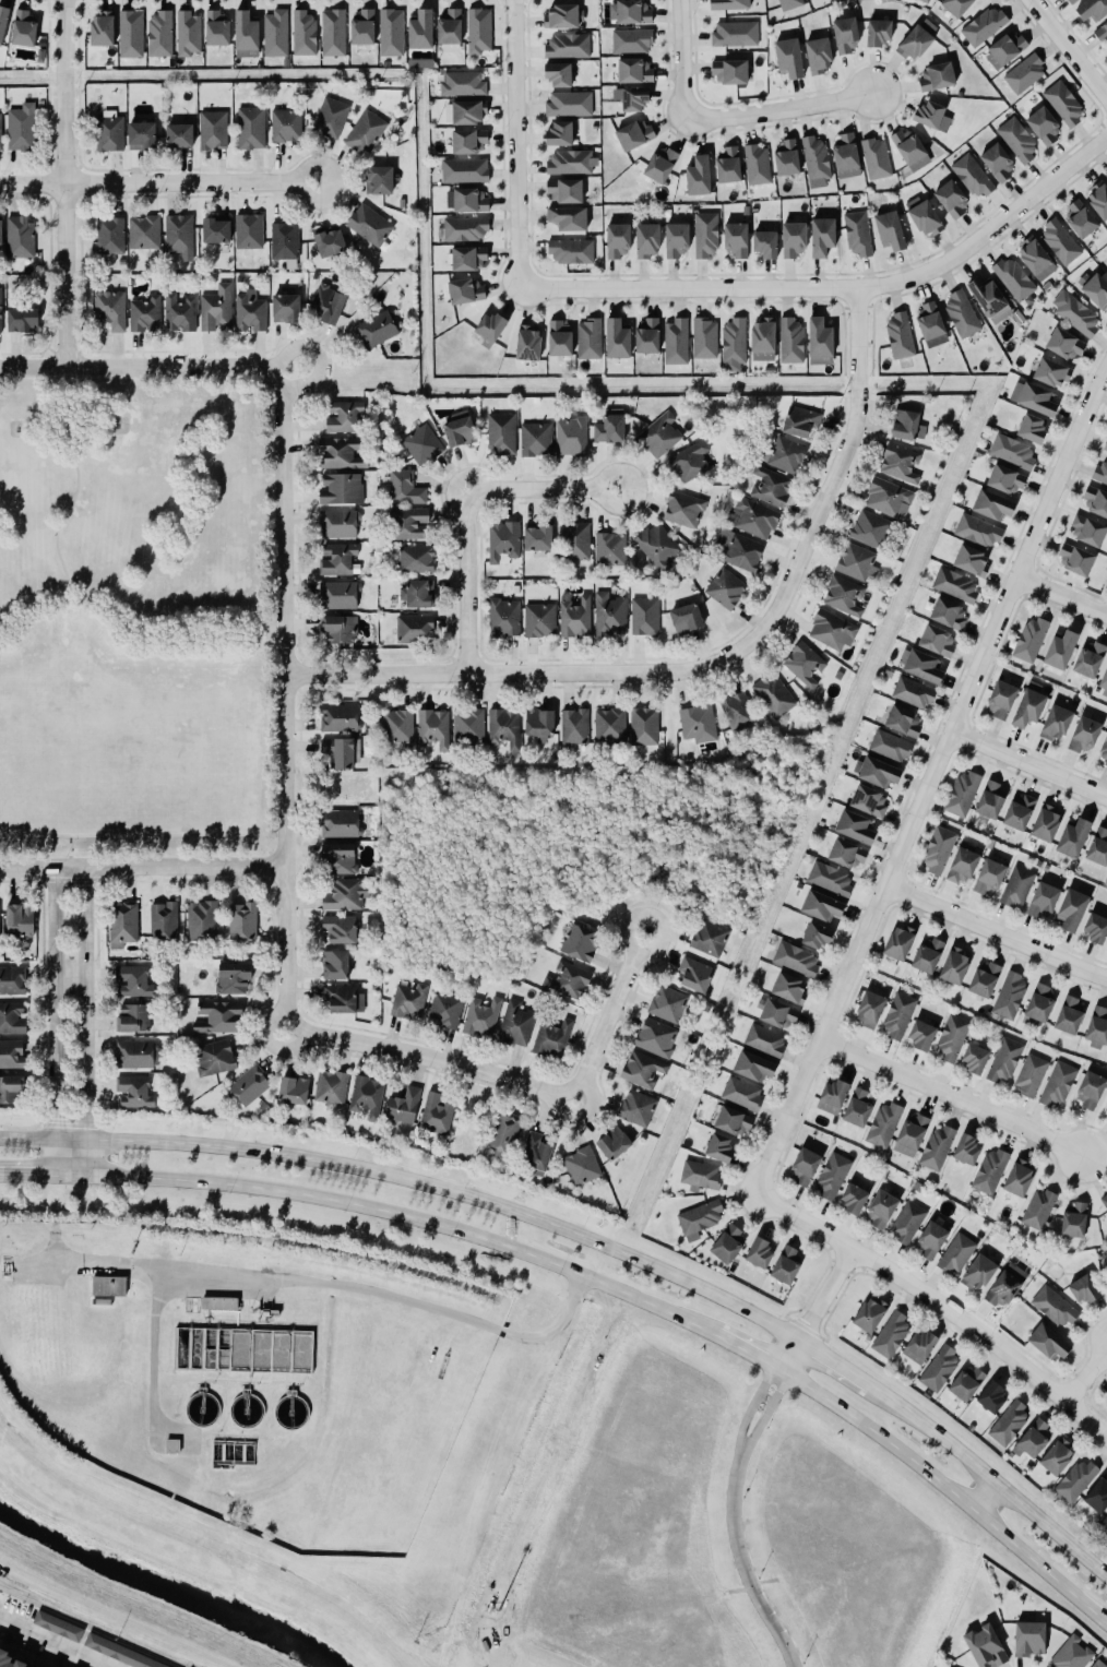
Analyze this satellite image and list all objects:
building: (928, 1)
building: (1079, 1)
building: (793, 4)
building: (735, 5)
building: (962, 7)
building: (1096, 11)
building: (633, 13)
building: (567, 17)
building: (5, 24)
building: (988, 26)
building: (106, 28)
building: (367, 28)
building: (27, 29)
building: (221, 29)
building: (426, 32)
building: (454, 32)
building: (481, 32)
building: (394, 33)
building: (878, 33)
building: (130, 34)
building: (190, 34)
building: (278, 34)
building: (336, 34)
building: (1103, 34)
building: (163, 35)
building: (307, 35)
building: (738, 35)
building: (250, 36)
building: (849, 36)
building: (921, 39)
building: (631, 40)
building: (40, 43)
building: (571, 47)
road: (1067, 49)
building: (1011, 50)
building: (40, 56)
building: (823, 56)
building: (788, 58)
road: (683, 60)
building: (639, 72)
building: (735, 73)
building: (558, 74)
building: (1027, 74)
building: (941, 78)
building: (462, 84)
building: (635, 99)
building: (568, 105)
building: (1067, 106)
road: (781, 110)
building: (451, 114)
building: (472, 114)
building: (938, 117)
building: (333, 118)
building: (289, 127)
building: (1048, 127)
building: (24, 129)
building: (253, 129)
building: (215, 130)
building: (1, 131)
building: (114, 132)
building: (368, 132)
building: (564, 134)
building: (639, 135)
building: (146, 136)
building: (183, 136)
building: (473, 142)
road: (517, 142)
building: (1021, 142)
building: (915, 151)
building: (850, 157)
building: (874, 158)
building: (790, 159)
building: (574, 163)
building: (819, 163)
building: (1001, 163)
building: (760, 165)
building: (665, 166)
building: (733, 166)
building: (467, 171)
building: (1106, 176)
building: (704, 177)
building: (975, 177)
building: (385, 181)
road: (64, 182)
road: (158, 183)
building: (569, 192)
building: (1100, 198)
building: (955, 200)
building: (469, 201)
building: (401, 203)
building: (928, 217)
building: (573, 219)
building: (1085, 221)
building: (369, 225)
building: (468, 229)
building: (251, 231)
building: (895, 231)
building: (146, 233)
building: (221, 233)
building: (180, 234)
building: (2, 235)
building: (710, 235)
building: (860, 235)
building: (112, 236)
building: (23, 237)
building: (828, 238)
building: (681, 240)
building: (798, 240)
building: (287, 241)
building: (622, 241)
building: (653, 241)
building: (741, 241)
building: (1063, 241)
building: (335, 245)
building: (771, 246)
building: (574, 251)
building: (472, 259)
building: (1039, 259)
building: (1016, 279)
building: (1096, 288)
road: (838, 289)
building: (469, 293)
building: (986, 296)
building: (331, 306)
building: (218, 309)
building: (290, 309)
building: (114, 310)
building: (1, 311)
building: (253, 312)
building: (147, 314)
building: (182, 314)
building: (961, 314)
building: (1078, 314)
building: (26, 321)
building: (935, 321)
building: (380, 330)
building: (495, 330)
building: (903, 336)
building: (652, 337)
building: (704, 338)
building: (564, 340)
building: (588, 340)
building: (617, 340)
building: (767, 341)
building: (676, 342)
building: (795, 342)
building: (825, 343)
building: (533, 344)
building: (1069, 345)
building: (737, 346)
road: (142, 367)
building: (770, 370)
building: (1057, 374)
building: (1037, 400)
building: (348, 417)
building: (804, 424)
building: (910, 427)
building: (463, 430)
building: (1037, 430)
building: (612, 431)
building: (503, 434)
building: (662, 436)
building: (572, 437)
building: (537, 440)
building: (425, 445)
building: (1106, 448)
building: (1015, 452)
building: (345, 454)
building: (789, 456)
building: (692, 462)
building: (902, 464)
building: (1102, 475)
building: (1011, 480)
road: (76, 484)
building: (773, 487)
building: (408, 489)
building: (343, 490)
building: (891, 499)
building: (1096, 501)
building: (998, 507)
road: (469, 508)
building: (687, 510)
building: (754, 519)
building: (341, 524)
building: (414, 524)
building: (871, 529)
building: (980, 532)
building: (1091, 532)
building: (578, 539)
building: (544, 540)
building: (507, 541)
building: (659, 546)
building: (611, 550)
building: (740, 550)
building: (419, 560)
building: (1080, 561)
building: (858, 562)
building: (976, 562)
building: (957, 585)
building: (727, 590)
building: (420, 595)
road: (1061, 595)
building: (341, 596)
building: (846, 596)
building: (611, 615)
building: (952, 616)
building: (646, 617)
building: (507, 618)
building: (579, 618)
building: (541, 620)
building: (690, 620)
park: (139, 621)
building: (417, 629)
building: (343, 631)
building: (835, 631)
road: (132, 635)
building: (1034, 641)
building: (941, 643)
building: (1066, 652)
building: (1094, 660)
building: (807, 665)
road: (711, 666)
building: (926, 668)
building: (1105, 686)
building: (916, 694)
building: (776, 695)
road: (285, 700)
building: (1008, 701)
building: (1034, 707)
building: (742, 713)
building: (342, 718)
building: (906, 723)
building: (543, 725)
building: (701, 725)
building: (1060, 725)
building: (401, 727)
building: (471, 727)
building: (576, 727)
building: (611, 727)
building: (646, 727)
building: (436, 728)
building: (507, 728)
building: (1088, 737)
building: (894, 748)
building: (1105, 750)
building: (343, 754)
road: (1028, 763)
building: (1106, 765)
building: (881, 773)
road: (927, 782)
building: (965, 794)
building: (872, 802)
building: (993, 802)
building: (1023, 813)
building: (343, 824)
building: (1049, 825)
building: (860, 830)
building: (1078, 840)
park: (571, 846)
building: (1099, 847)
building: (941, 852)
building: (850, 856)
building: (344, 859)
road: (141, 866)
building: (966, 866)
building: (992, 878)
building: (833, 881)
building: (1020, 888)
building: (347, 895)
building: (1047, 903)
building: (826, 908)
building: (1078, 910)
building: (0, 920)
building: (24, 920)
building: (167, 920)
building: (205, 921)
building: (246, 921)
building: (127, 925)
building: (343, 929)
building: (1097, 929)
road: (995, 931)
building: (822, 936)
building: (713, 938)
building: (583, 942)
building: (904, 943)
building: (931, 956)
building: (798, 960)
building: (338, 965)
building: (959, 968)
building: (698, 975)
road: (70, 978)
building: (237, 978)
building: (989, 979)
building: (14, 980)
building: (570, 980)
building: (135, 981)
building: (794, 988)
building: (1012, 996)
building: (346, 999)
building: (410, 1000)
building: (670, 1003)
building: (1044, 1004)
building: (874, 1009)
building: (448, 1011)
building: (783, 1014)
building: (902, 1015)
building: (1072, 1016)
building: (222, 1017)
building: (484, 1017)
building: (13, 1019)
building: (135, 1019)
road: (57, 1021)
road: (84, 1022)
building: (517, 1024)
building: (1099, 1027)
building: (927, 1035)
building: (555, 1038)
building: (659, 1038)
building: (955, 1038)
building: (767, 1040)
building: (13, 1055)
building: (139, 1055)
building: (217, 1058)
building: (979, 1058)
building: (1008, 1061)
building: (759, 1067)
building: (645, 1070)
building: (1033, 1075)
building: (252, 1085)
road: (520, 1085)
building: (1061, 1085)
building: (333, 1087)
building: (13, 1089)
building: (297, 1091)
building: (1094, 1092)
building: (136, 1093)
building: (745, 1094)
building: (369, 1097)
building: (836, 1097)
road: (951, 1098)
building: (407, 1106)
building: (640, 1108)
building: (862, 1108)
building: (440, 1114)
building: (737, 1122)
building: (888, 1124)
building: (508, 1134)
building: (916, 1134)
building: (618, 1143)
building: (940, 1148)
building: (725, 1150)
building: (972, 1151)
building: (540, 1154)
building: (584, 1166)
building: (809, 1167)
building: (993, 1171)
road: (29, 1176)
building: (704, 1176)
building: (835, 1176)
building: (1024, 1179)
road: (414, 1186)
building: (858, 1199)
building: (1104, 1202)
road: (344, 1206)
building: (1041, 1210)
building: (884, 1211)
building: (703, 1219)
building: (1078, 1219)
building: (909, 1223)
building: (935, 1241)
building: (731, 1245)
building: (764, 1253)
building: (959, 1254)
building: (789, 1266)
building: (983, 1273)
road: (332, 1284)
building: (1011, 1285)
building: (107, 1287)
building: (1088, 1290)
building: (218, 1305)
road: (938, 1306)
building: (1058, 1308)
road: (659, 1310)
road: (816, 1312)
building: (874, 1317)
building: (893, 1335)
building: (1054, 1343)
building: (924, 1347)
road: (741, 1349)
building: (242, 1352)
road: (153, 1362)
road: (841, 1369)
building: (942, 1369)
road: (1085, 1373)
building: (971, 1383)
building: (996, 1397)
road: (752, 1405)
building: (201, 1410)
building: (246, 1410)
building: (290, 1412)
road: (766, 1412)
building: (1012, 1424)
building: (1036, 1440)
building: (176, 1446)
building: (231, 1454)
building: (1060, 1457)
building: (1078, 1481)
road: (996, 1484)
road: (950, 1489)
road: (983, 1493)
building: (1099, 1497)
building: (1105, 1524)
road: (741, 1561)
building: (61, 1627)
building: (1034, 1640)
road: (55, 1642)
building: (990, 1647)
building: (122, 1653)
building: (1074, 1654)
building: (10, 1659)
building: (1100, 1664)

